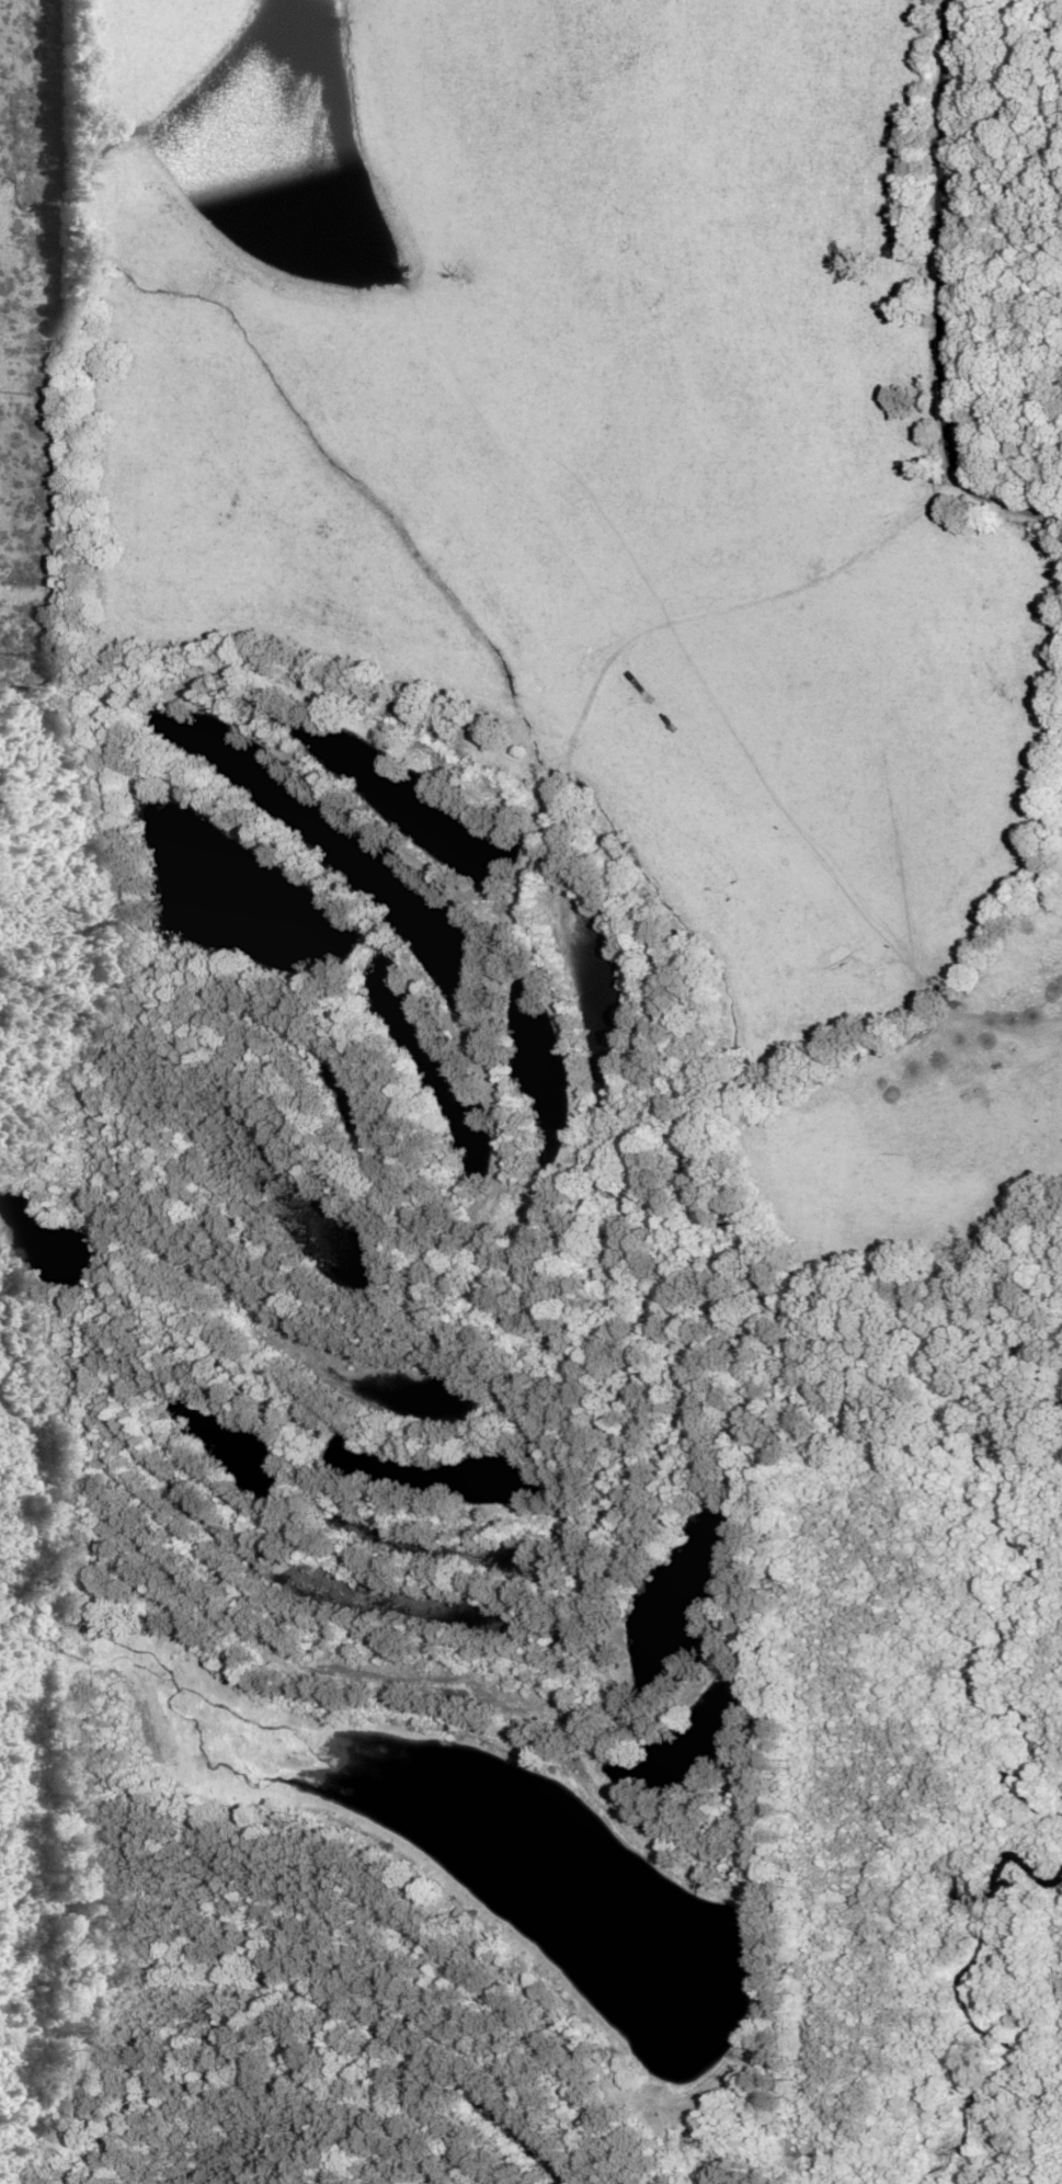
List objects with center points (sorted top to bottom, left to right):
road: (897, 305)

